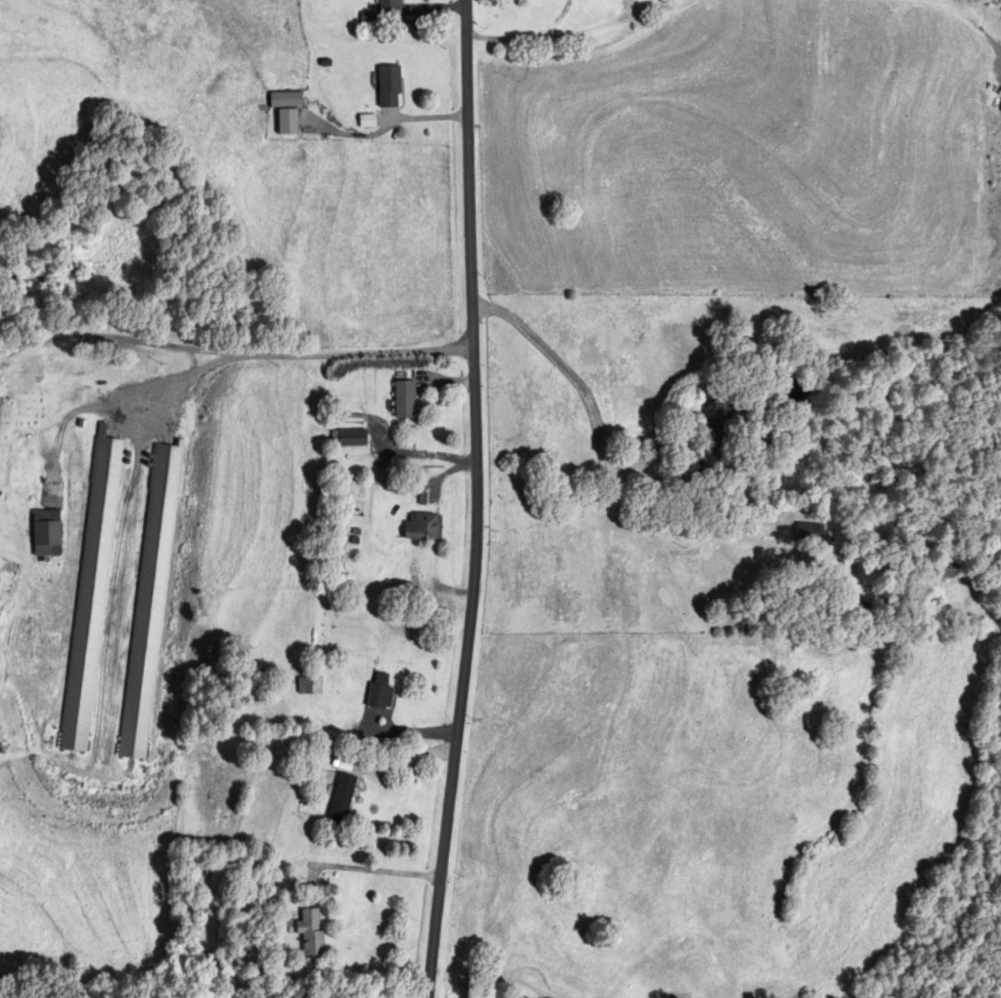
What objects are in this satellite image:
building: (389, 6)
building: (389, 87)
building: (288, 122)
road: (238, 355)
building: (404, 400)
road: (597, 405)
building: (715, 422)
building: (349, 438)
road: (485, 500)
building: (422, 527)
building: (46, 533)
building: (808, 536)
building: (414, 569)
building: (946, 569)
building: (91, 595)
building: (150, 601)
building: (862, 612)
building: (310, 686)
building: (380, 696)
road: (413, 757)
building: (342, 798)
road: (380, 870)
building: (311, 933)

